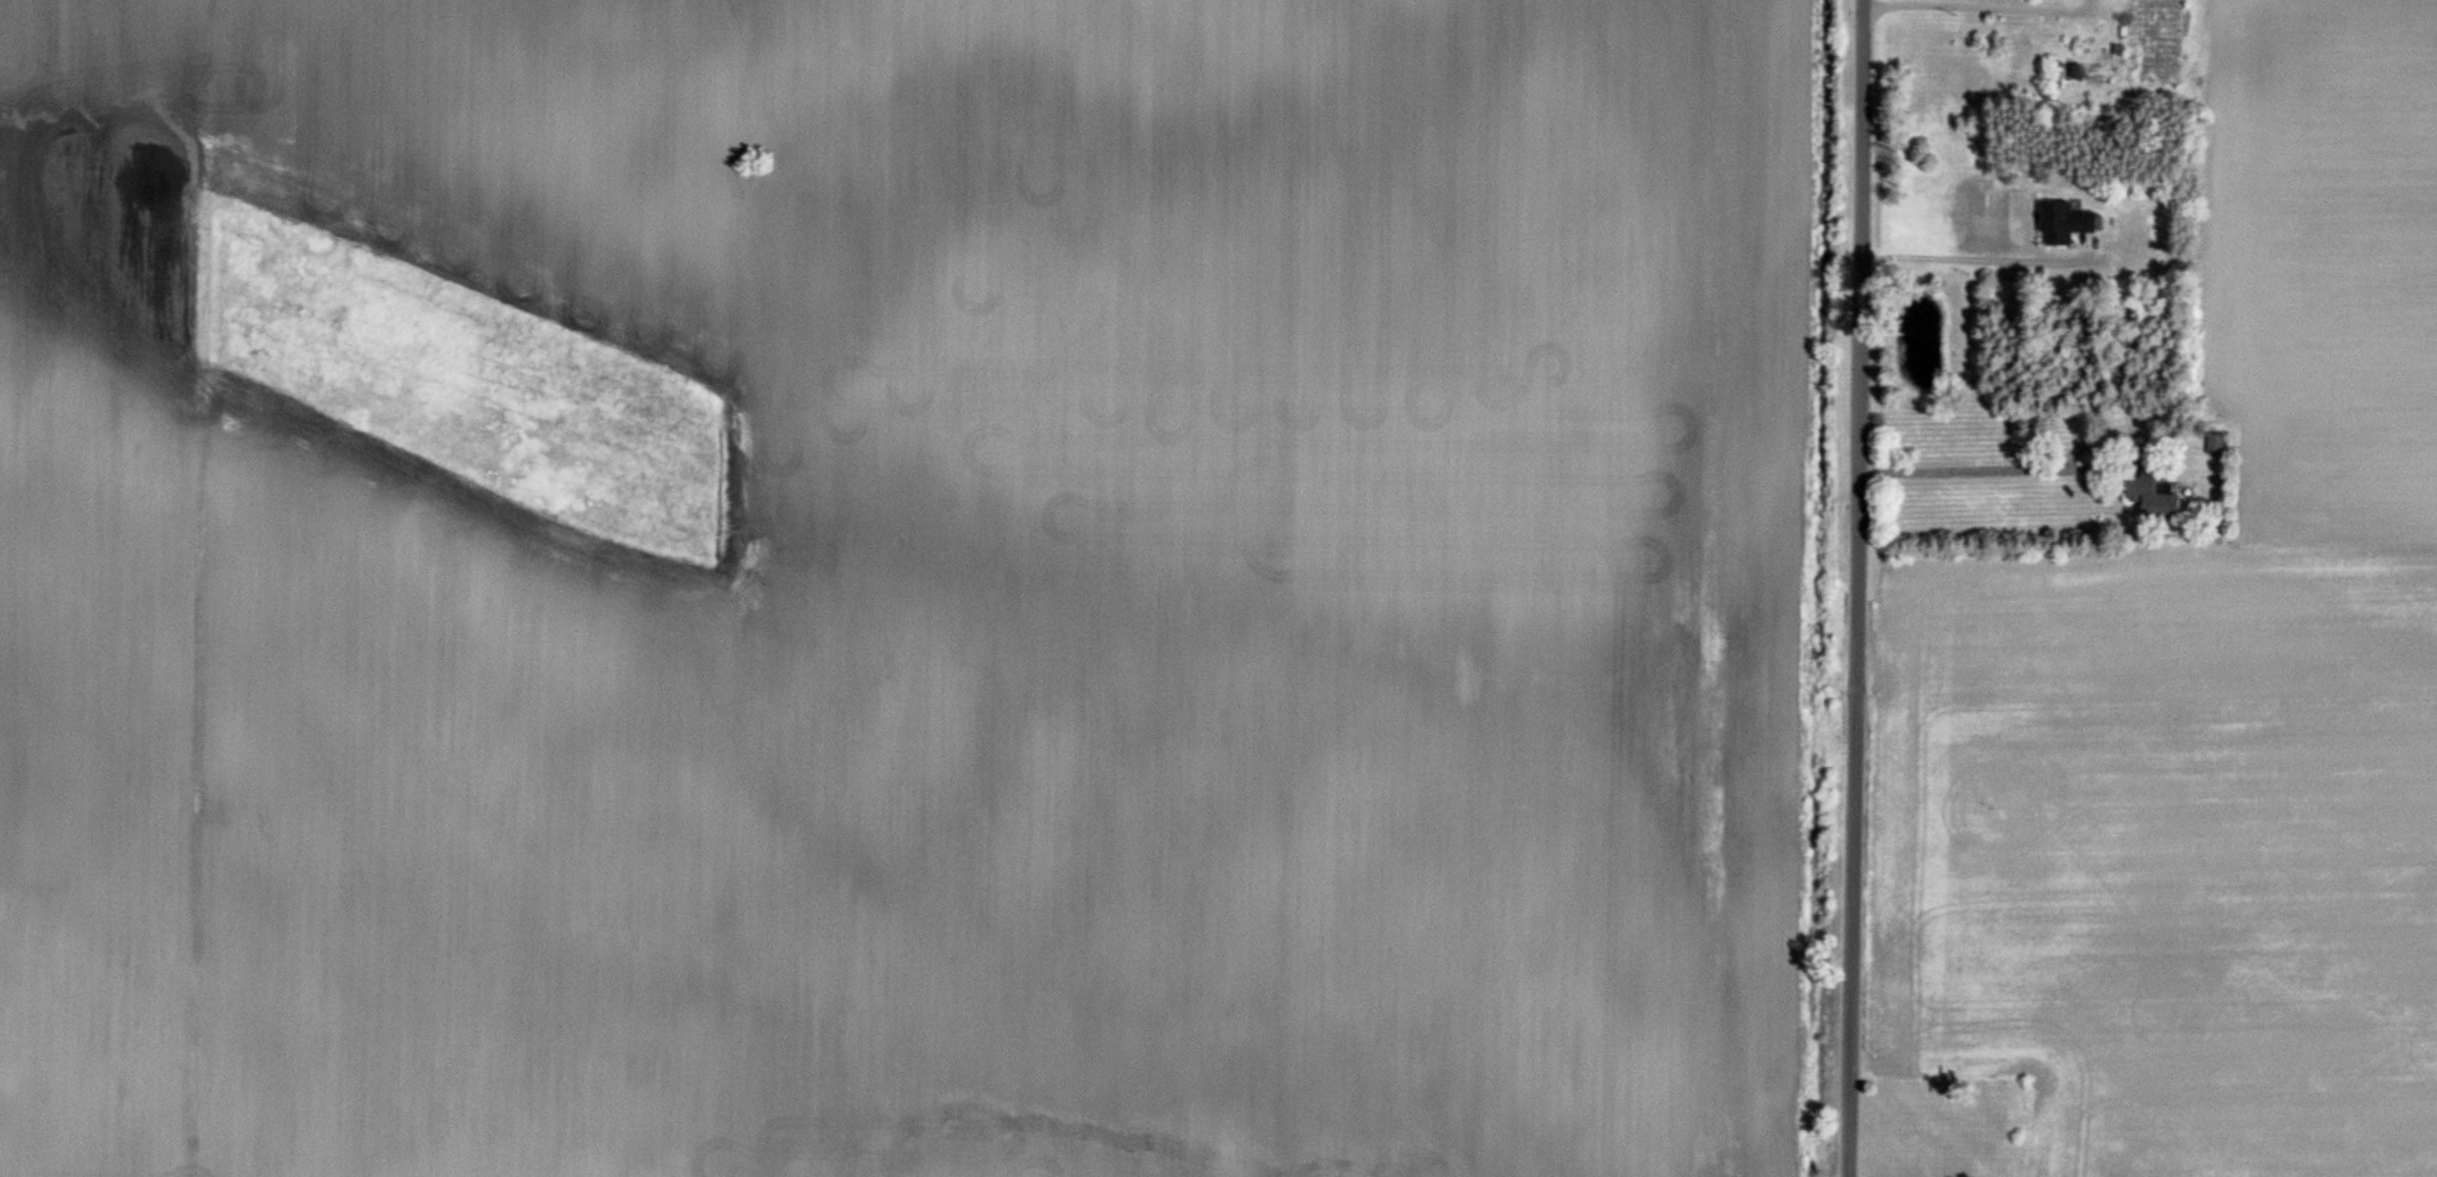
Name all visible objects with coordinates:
road: (1953, 10)
building: (2064, 225)
road: (1971, 260)
building: (2214, 446)
road: (1967, 475)
building: (2151, 495)
road: (1854, 588)

